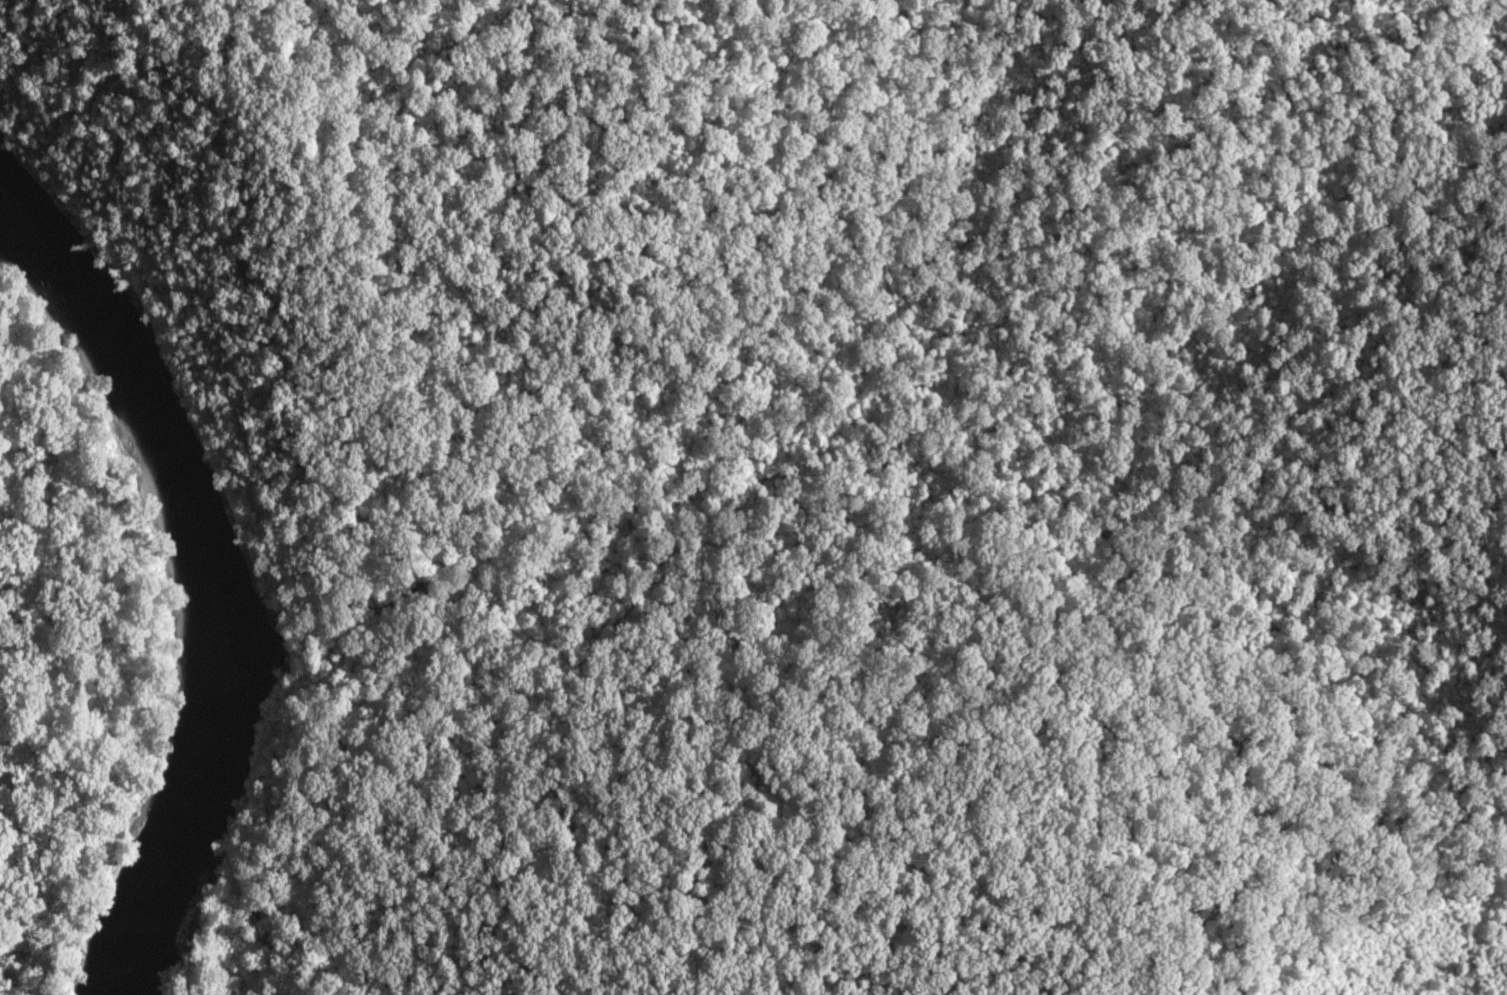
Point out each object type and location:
river: (213, 573)

